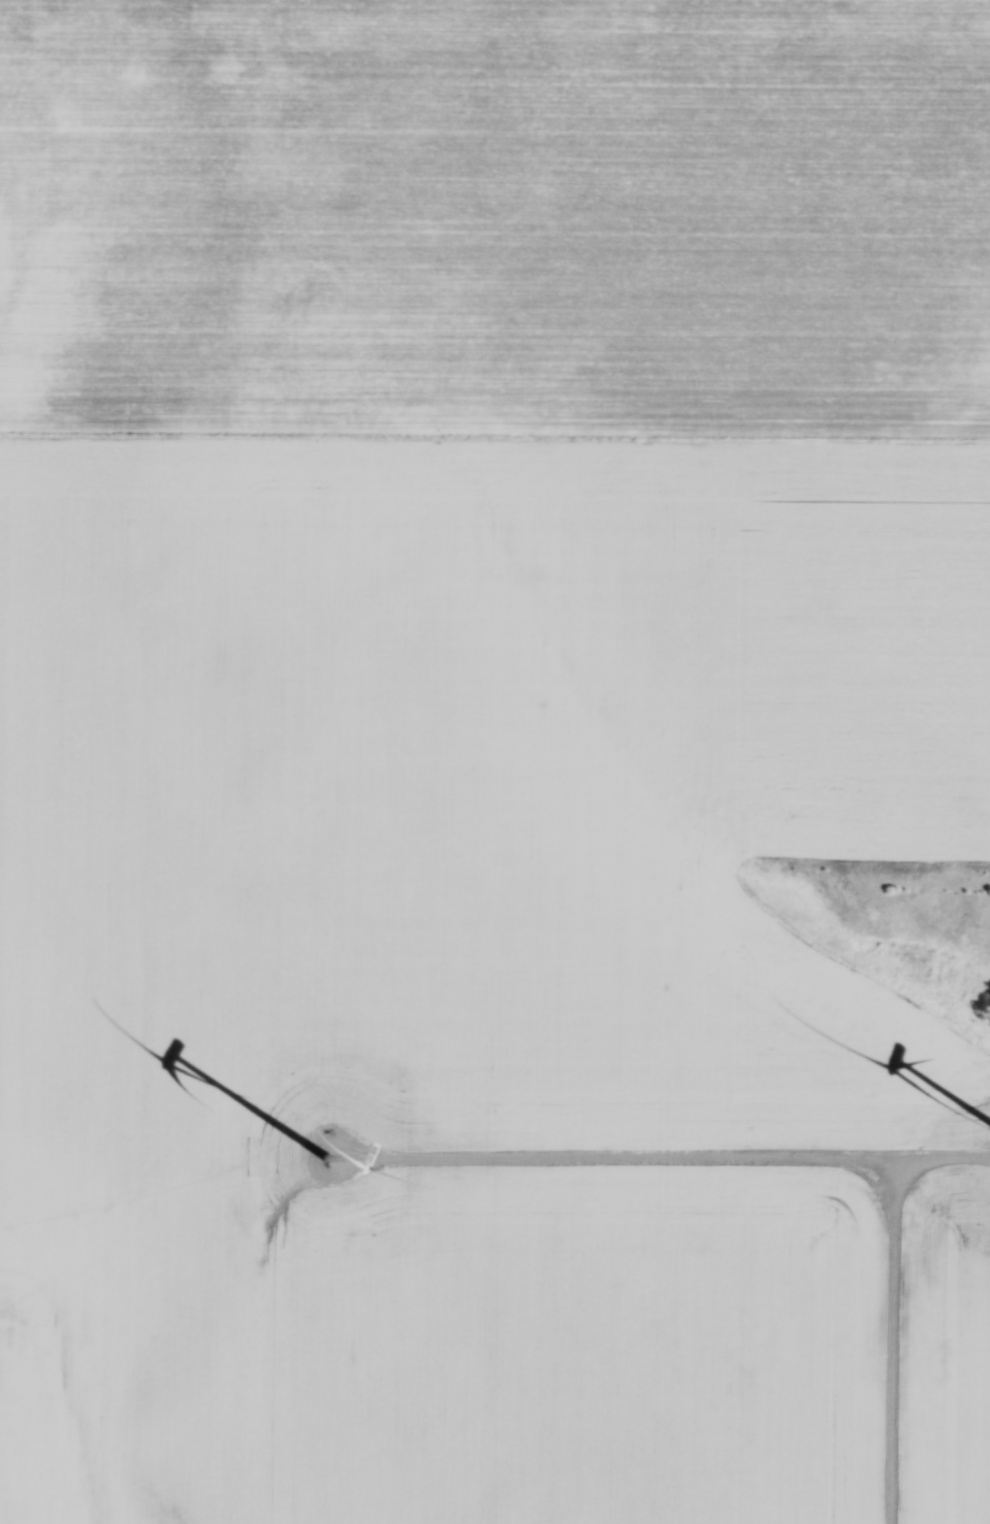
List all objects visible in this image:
wind turbine: (331, 1160)

